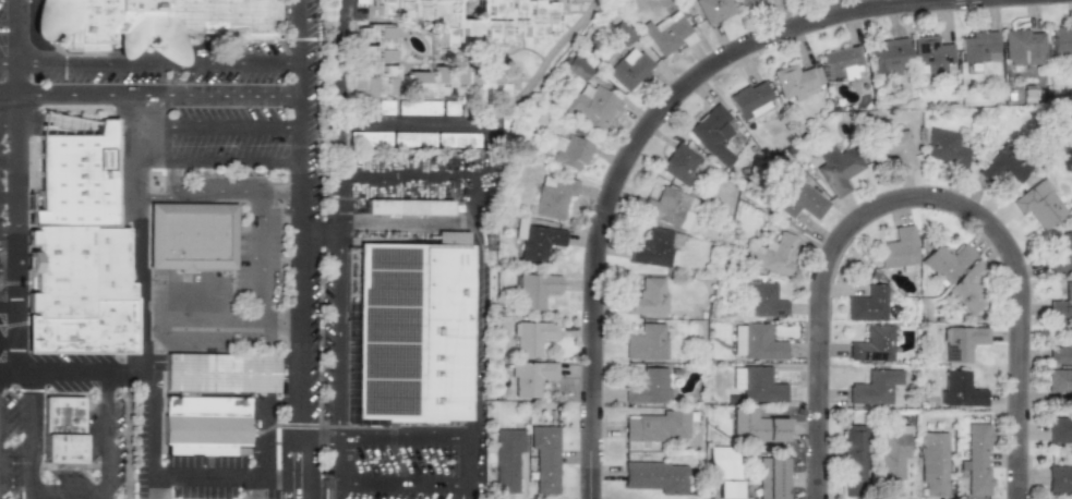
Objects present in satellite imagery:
building: (361, 1)
building: (574, 1)
building: (746, 2)
building: (712, 10)
road: (345, 12)
road: (15, 13)
building: (475, 17)
road: (8, 26)
building: (155, 27)
building: (621, 33)
building: (666, 33)
building: (1060, 41)
building: (979, 46)
building: (1022, 47)
building: (930, 54)
building: (888, 56)
building: (374, 60)
road: (14, 61)
road: (7, 63)
building: (840, 63)
road: (158, 64)
building: (627, 68)
building: (575, 69)
building: (795, 80)
building: (460, 83)
road: (150, 98)
building: (749, 99)
building: (384, 107)
building: (417, 107)
building: (449, 108)
building: (592, 108)
road: (451, 122)
road: (9, 124)
road: (221, 129)
building: (713, 133)
building: (413, 138)
road: (636, 139)
building: (898, 148)
building: (943, 148)
building: (568, 150)
road: (9, 161)
road: (221, 162)
building: (678, 163)
building: (1002, 165)
building: (836, 168)
road: (409, 173)
road: (221, 193)
road: (157, 194)
building: (553, 195)
road: (8, 199)
road: (908, 200)
building: (802, 202)
building: (1038, 204)
building: (408, 206)
building: (670, 207)
parking lot: (2, 231)
road: (9, 233)
building: (79, 236)
building: (539, 241)
building: (193, 242)
building: (653, 247)
road: (17, 248)
building: (898, 249)
building: (1060, 249)
building: (770, 253)
building: (945, 261)
road: (9, 266)
road: (265, 273)
building: (968, 287)
building: (534, 289)
building: (648, 297)
building: (762, 300)
building: (1061, 303)
building: (867, 304)
road: (141, 306)
road: (9, 311)
road: (204, 318)
road: (338, 334)
building: (413, 336)
building: (531, 337)
building: (736, 340)
road: (218, 341)
building: (646, 341)
road: (9, 342)
building: (761, 342)
building: (962, 342)
building: (871, 343)
building: (1062, 350)
road: (302, 354)
road: (475, 355)
building: (530, 377)
building: (1060, 382)
building: (756, 384)
building: (649, 387)
building: (874, 387)
building: (960, 389)
building: (213, 405)
building: (657, 426)
building: (756, 426)
building: (1060, 428)
road: (27, 436)
road: (109, 436)
building: (61, 437)
road: (387, 437)
building: (544, 457)
building: (506, 459)
building: (853, 459)
building: (892, 459)
building: (976, 459)
building: (722, 461)
building: (931, 462)
building: (654, 476)
building: (770, 477)
building: (1059, 478)
road: (253, 487)
road: (302, 487)
road: (150, 488)
building: (726, 488)
road: (68, 491)

